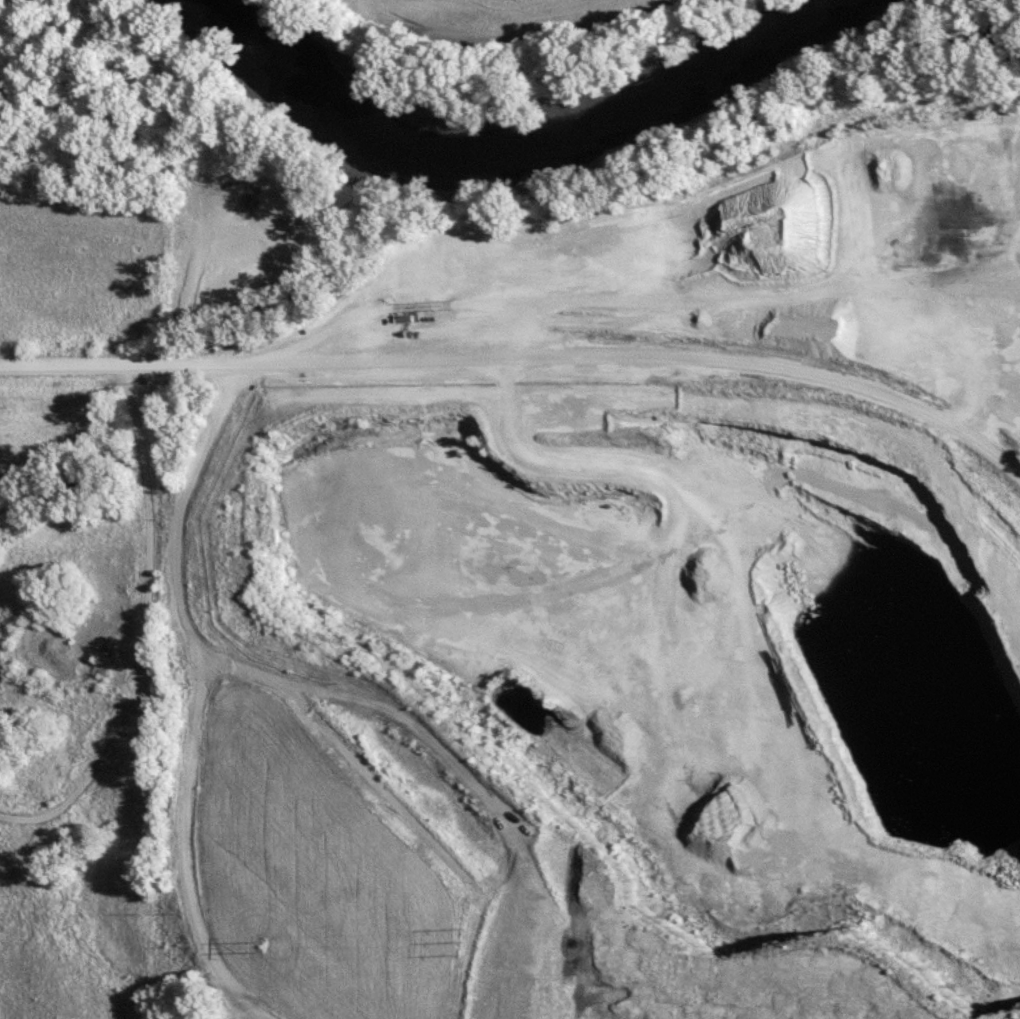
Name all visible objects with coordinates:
river: (538, 136)
road: (523, 349)
road: (294, 689)
power tower: (259, 942)
power tower: (457, 942)

